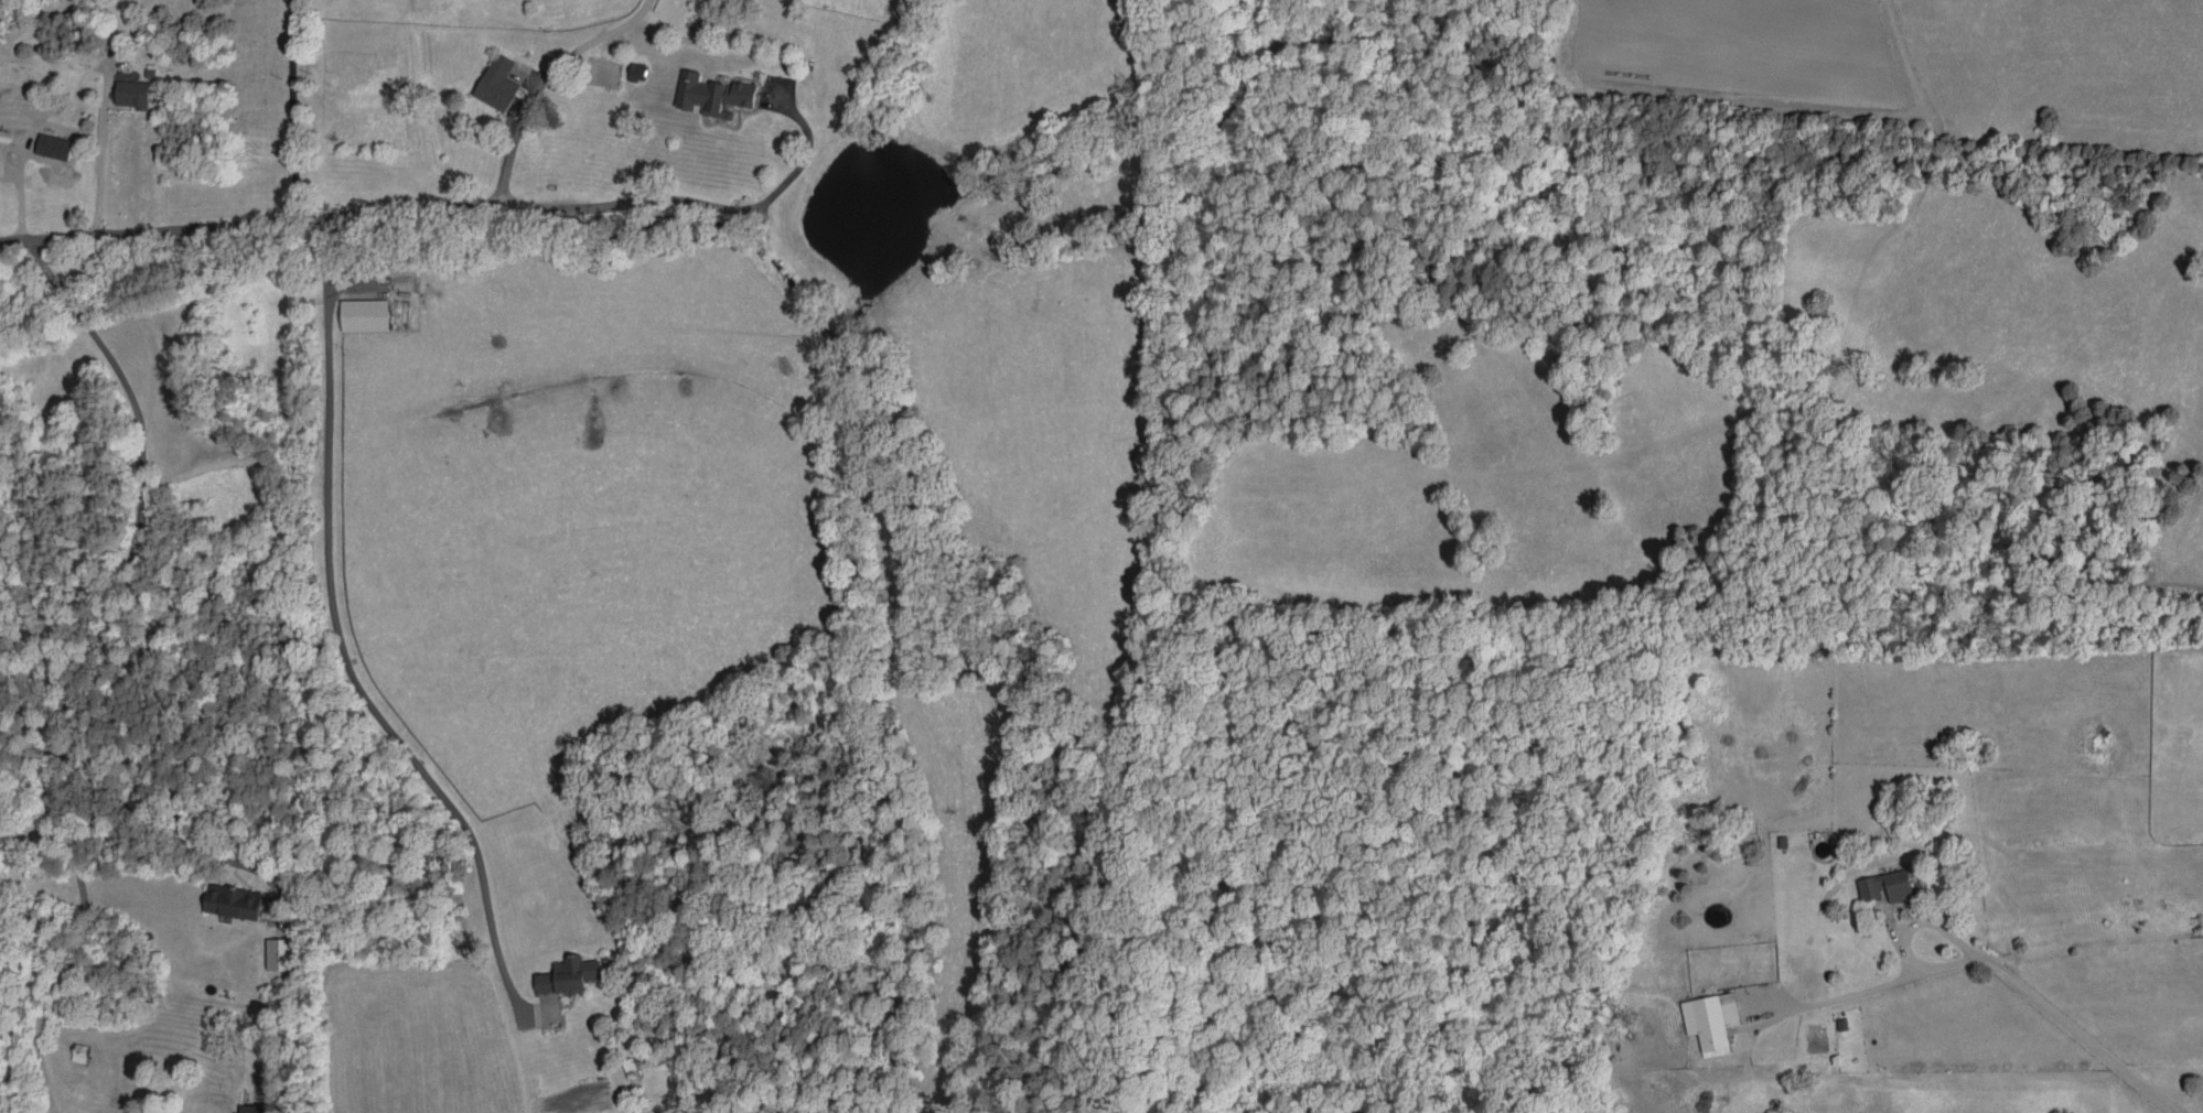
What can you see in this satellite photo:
building: (637, 69)
road: (550, 80)
building: (497, 83)
building: (131, 94)
building: (712, 94)
road: (290, 110)
building: (53, 145)
road: (98, 148)
road: (804, 158)
road: (19, 183)
road: (374, 210)
building: (364, 314)
road: (338, 642)
road: (79, 664)
building: (1887, 886)
building: (233, 900)
road: (1902, 937)
building: (280, 953)
building: (568, 975)
road: (1852, 993)
building: (1711, 1020)
road: (2076, 1033)
building: (251, 1109)

